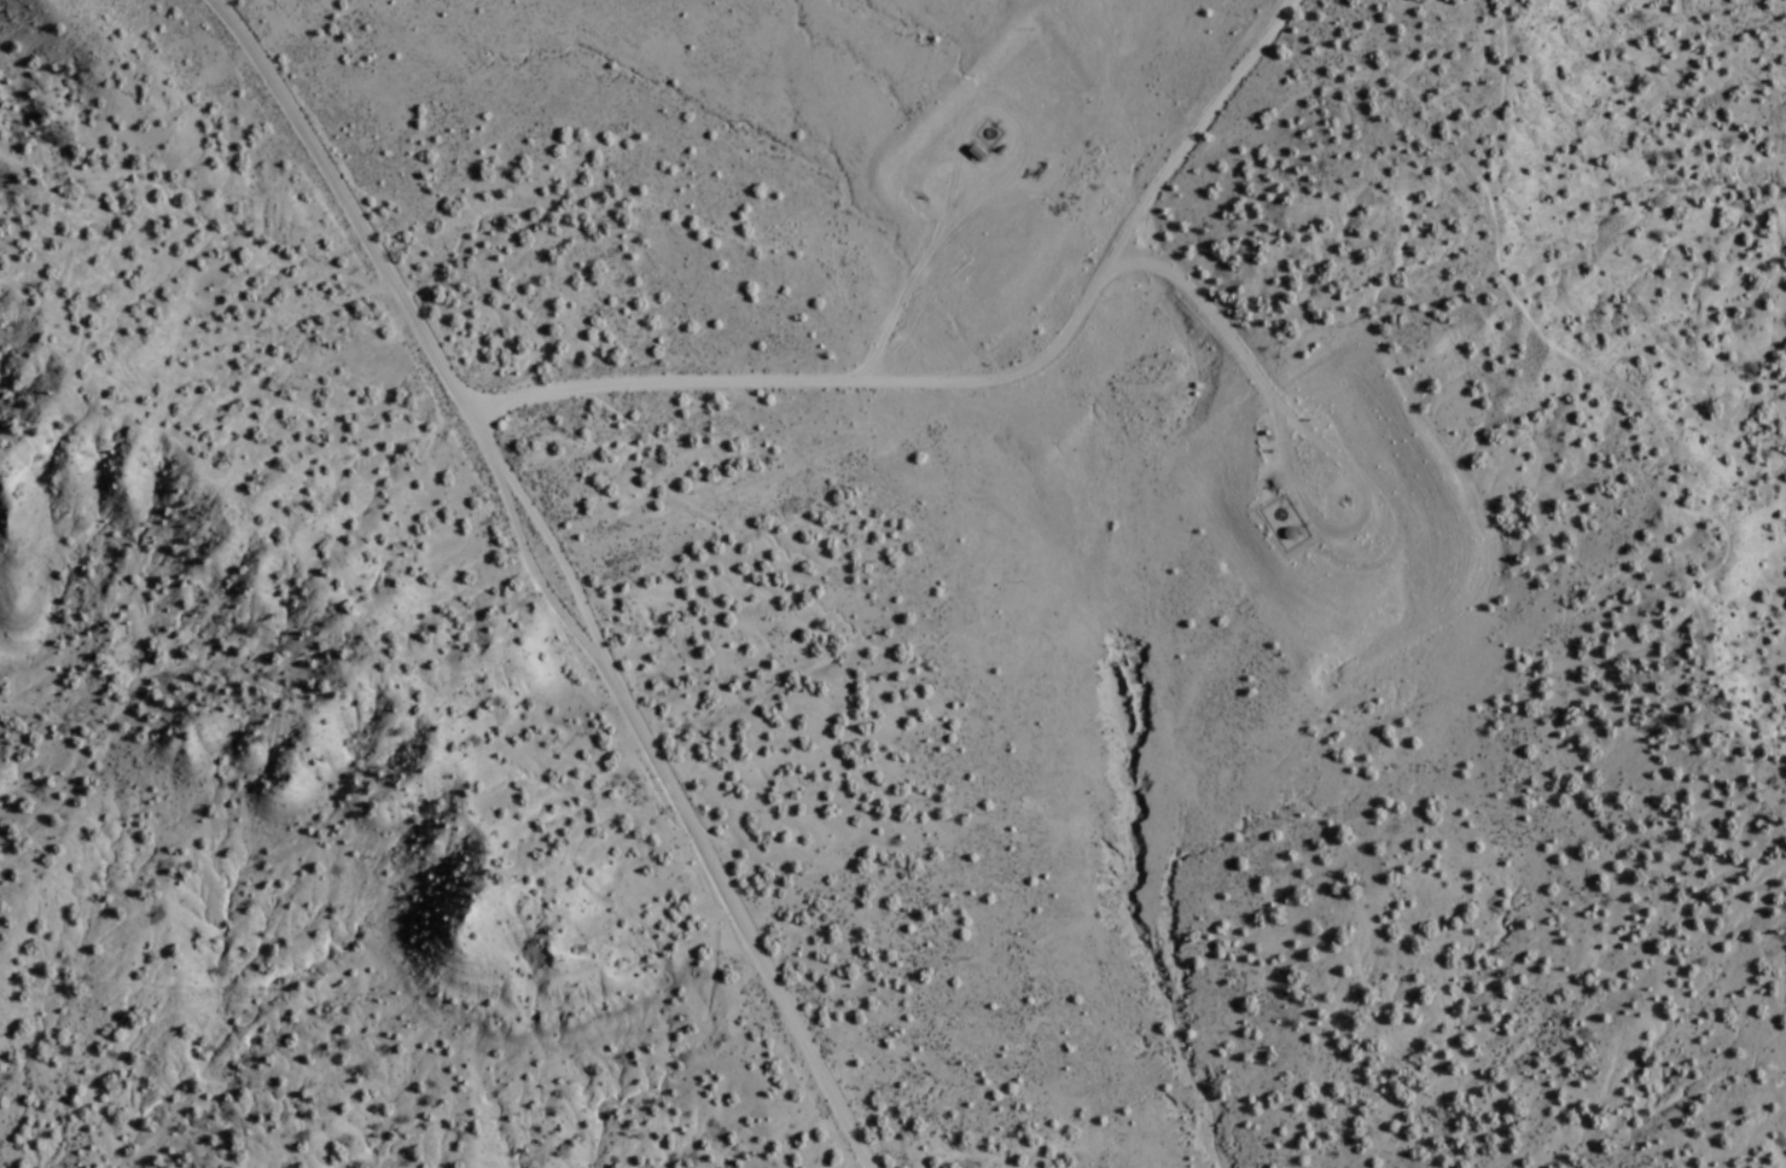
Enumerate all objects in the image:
road: (205, 2)
road: (953, 107)
road: (968, 384)
road: (1630, 397)
road: (1292, 486)
road: (554, 570)
road: (527, 586)

